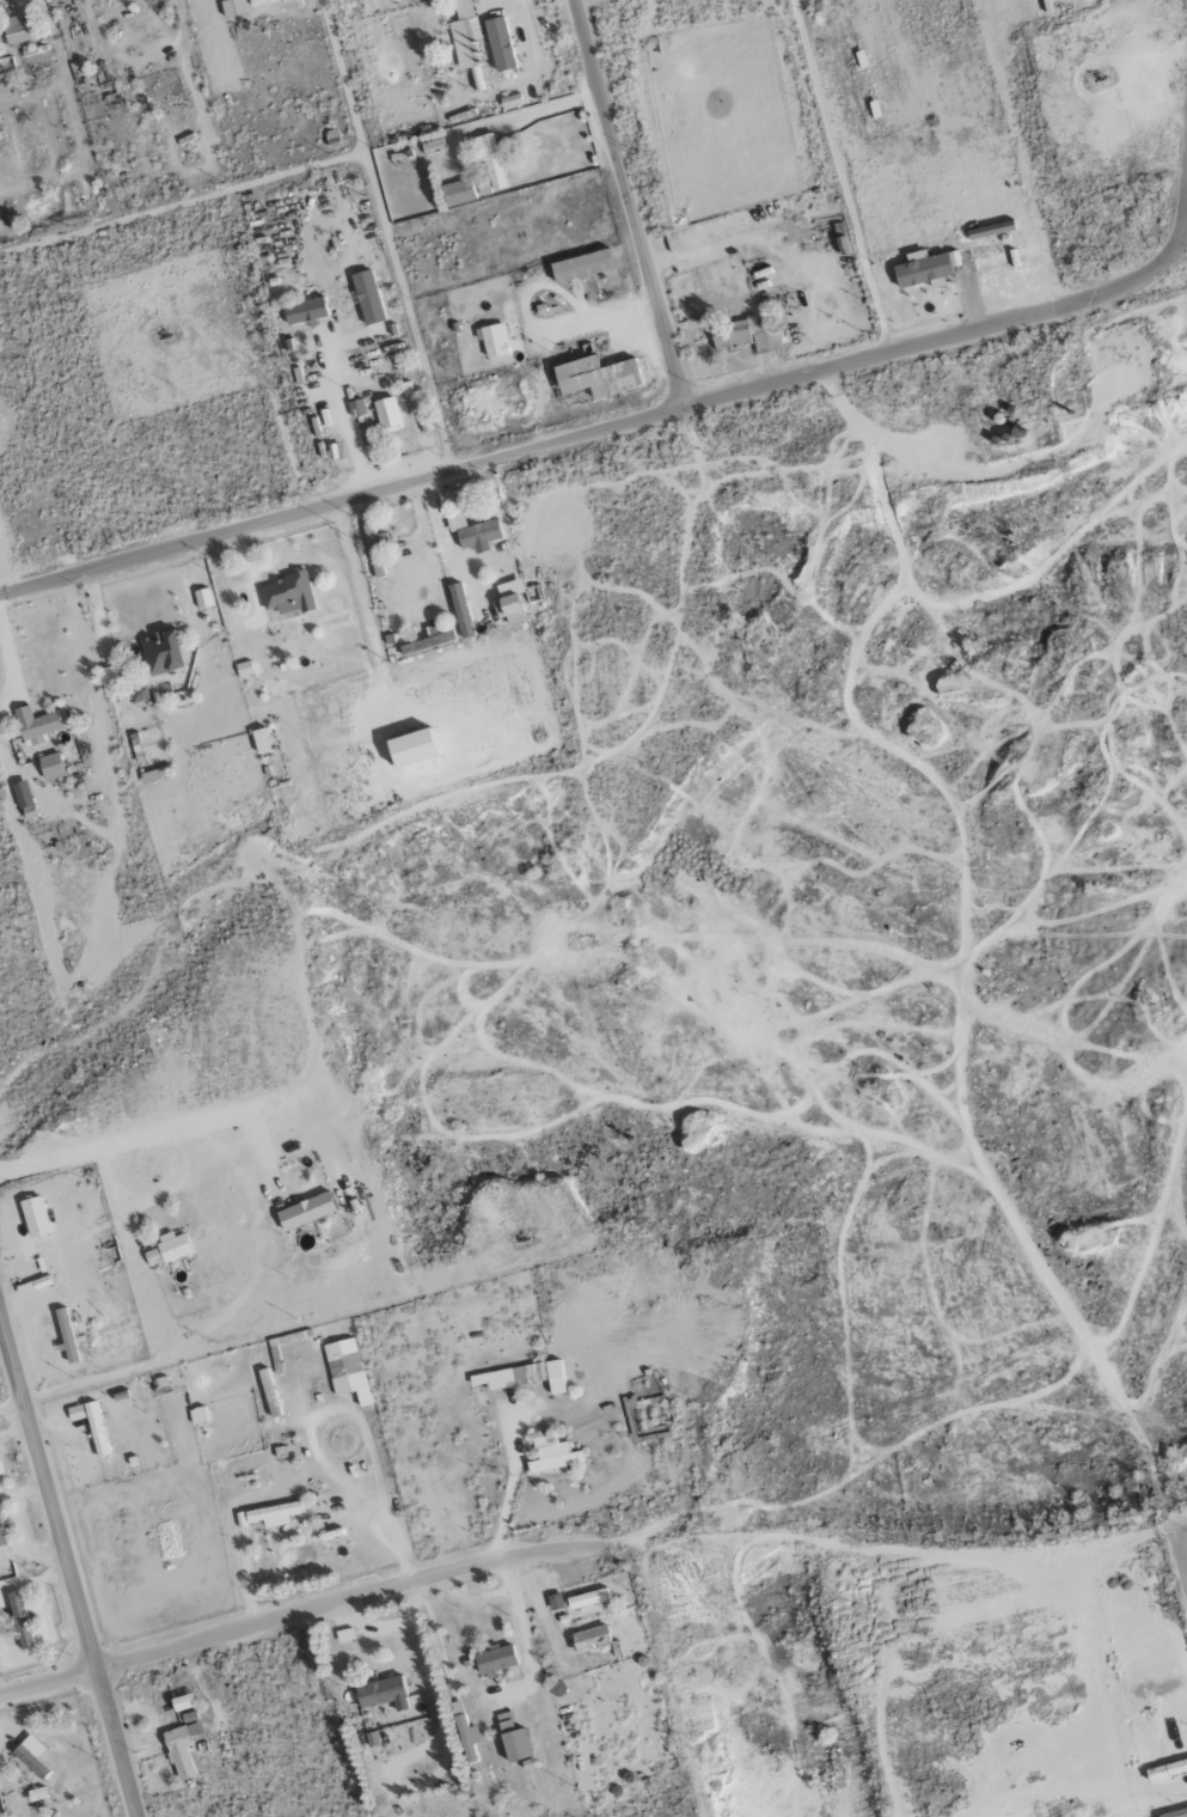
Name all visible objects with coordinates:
building: (262, 1)
building: (232, 7)
building: (18, 30)
building: (465, 38)
building: (433, 146)
road: (840, 176)
building: (458, 193)
road: (625, 203)
road: (1183, 217)
building: (586, 268)
building: (924, 268)
building: (367, 298)
building: (305, 311)
building: (744, 336)
building: (494, 340)
building: (596, 377)
building: (387, 415)
road: (598, 429)
road: (270, 431)
building: (335, 451)
building: (473, 531)
building: (375, 551)
road: (359, 589)
building: (287, 593)
building: (202, 598)
building: (509, 603)
building: (460, 610)
building: (427, 642)
building: (161, 652)
building: (244, 669)
building: (109, 682)
building: (140, 694)
building: (36, 726)
building: (261, 740)
building: (410, 749)
building: (50, 767)
building: (29, 812)
building: (306, 1211)
building: (167, 1249)
building: (345, 1368)
building: (522, 1377)
building: (75, 1411)
building: (552, 1456)
building: (0, 1477)
road: (504, 1505)
building: (269, 1514)
road: (1180, 1524)
building: (1, 1534)
road: (1180, 1549)
road: (69, 1562)
building: (588, 1598)
road: (300, 1615)
building: (20, 1620)
building: (589, 1639)
building: (495, 1659)
building: (383, 1693)
building: (183, 1702)
building: (512, 1738)
building: (372, 1739)
building: (466, 1739)
building: (182, 1746)
building: (31, 1755)
building: (1167, 1769)
building: (1175, 1813)

